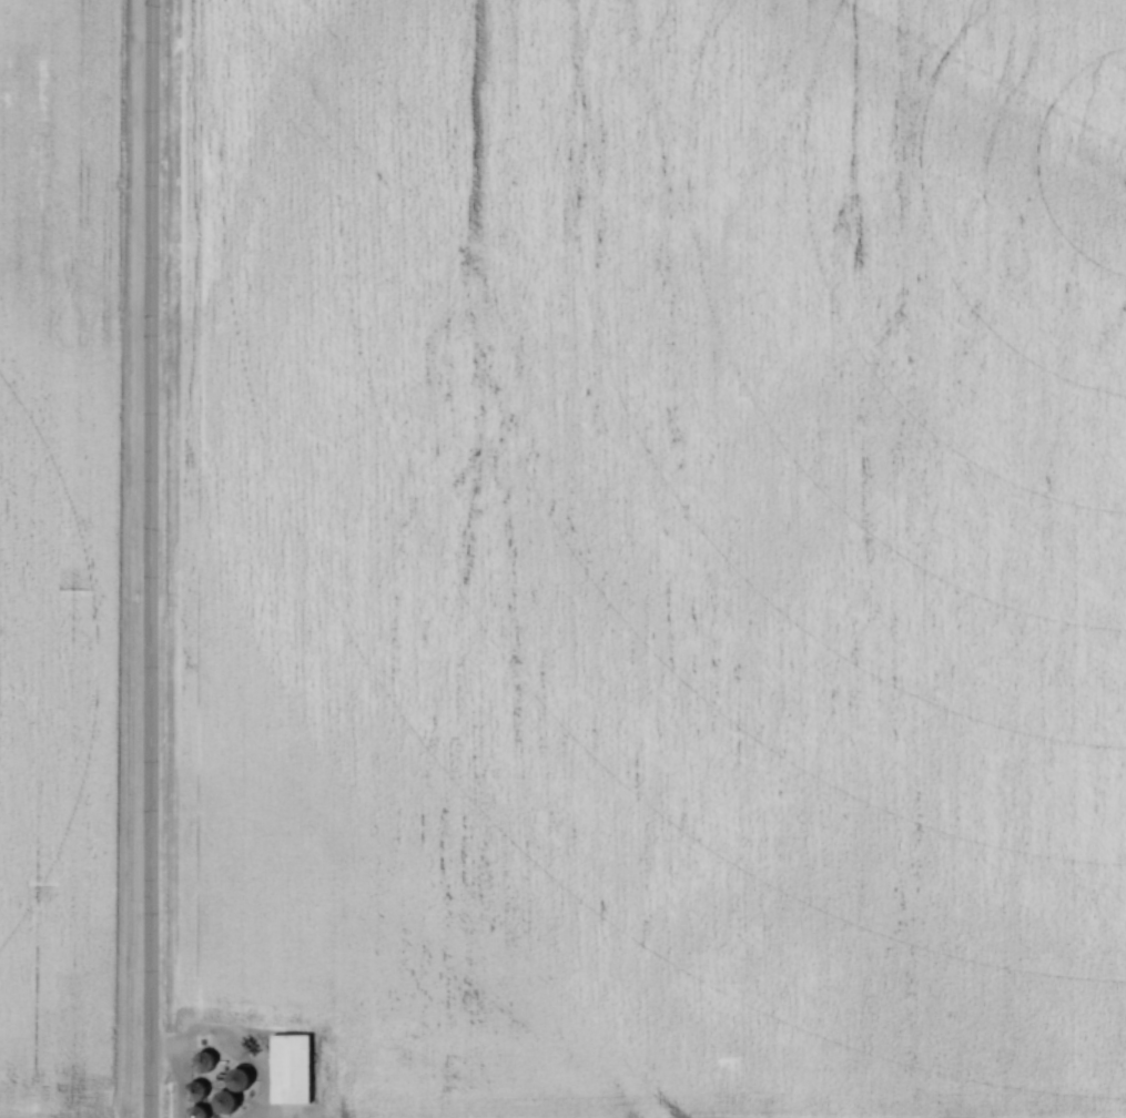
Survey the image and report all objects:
road: (150, 559)
building: (296, 1069)
building: (248, 1080)

